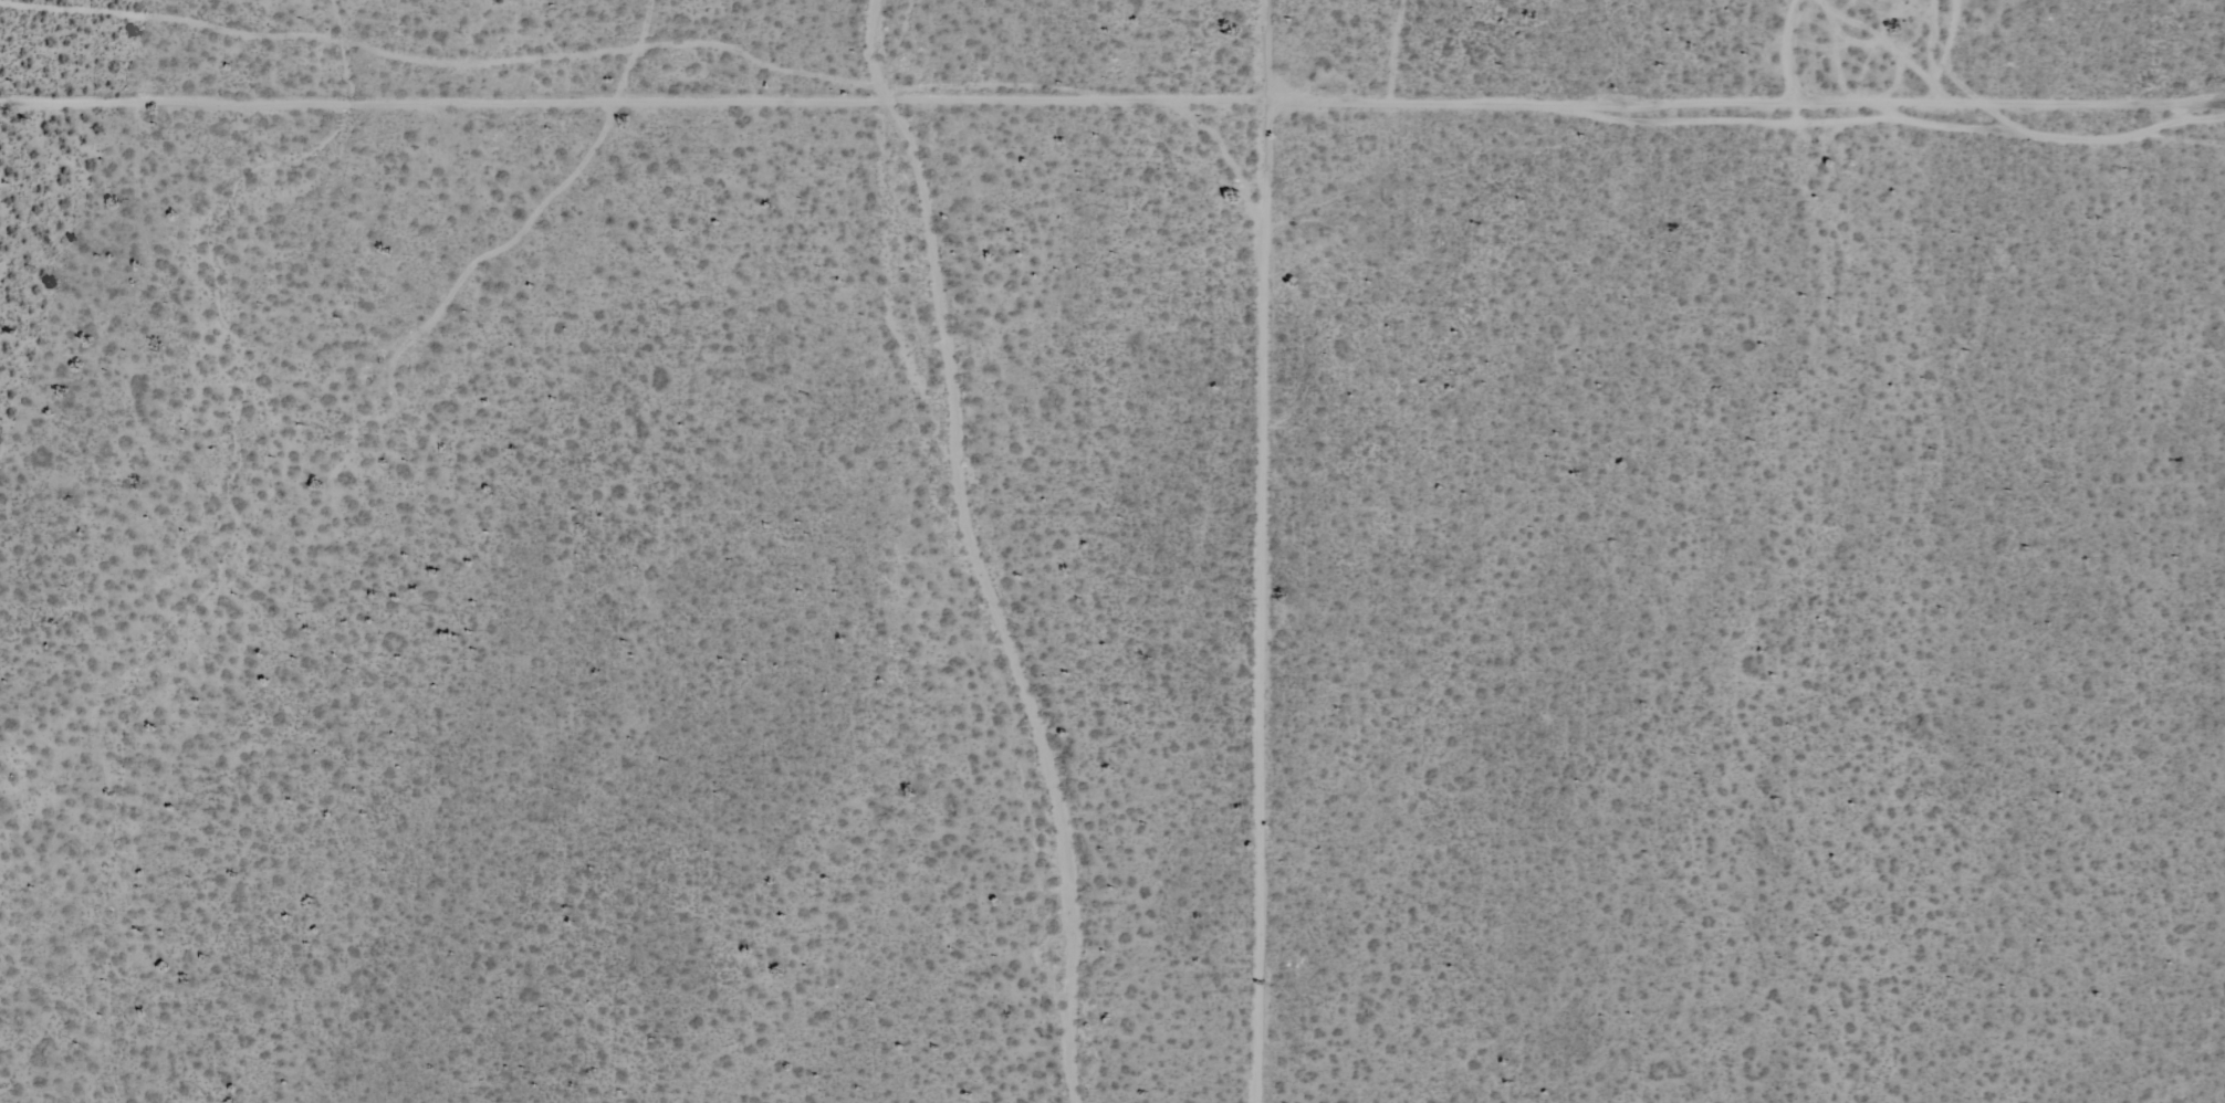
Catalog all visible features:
road: (1112, 107)
road: (1274, 550)

